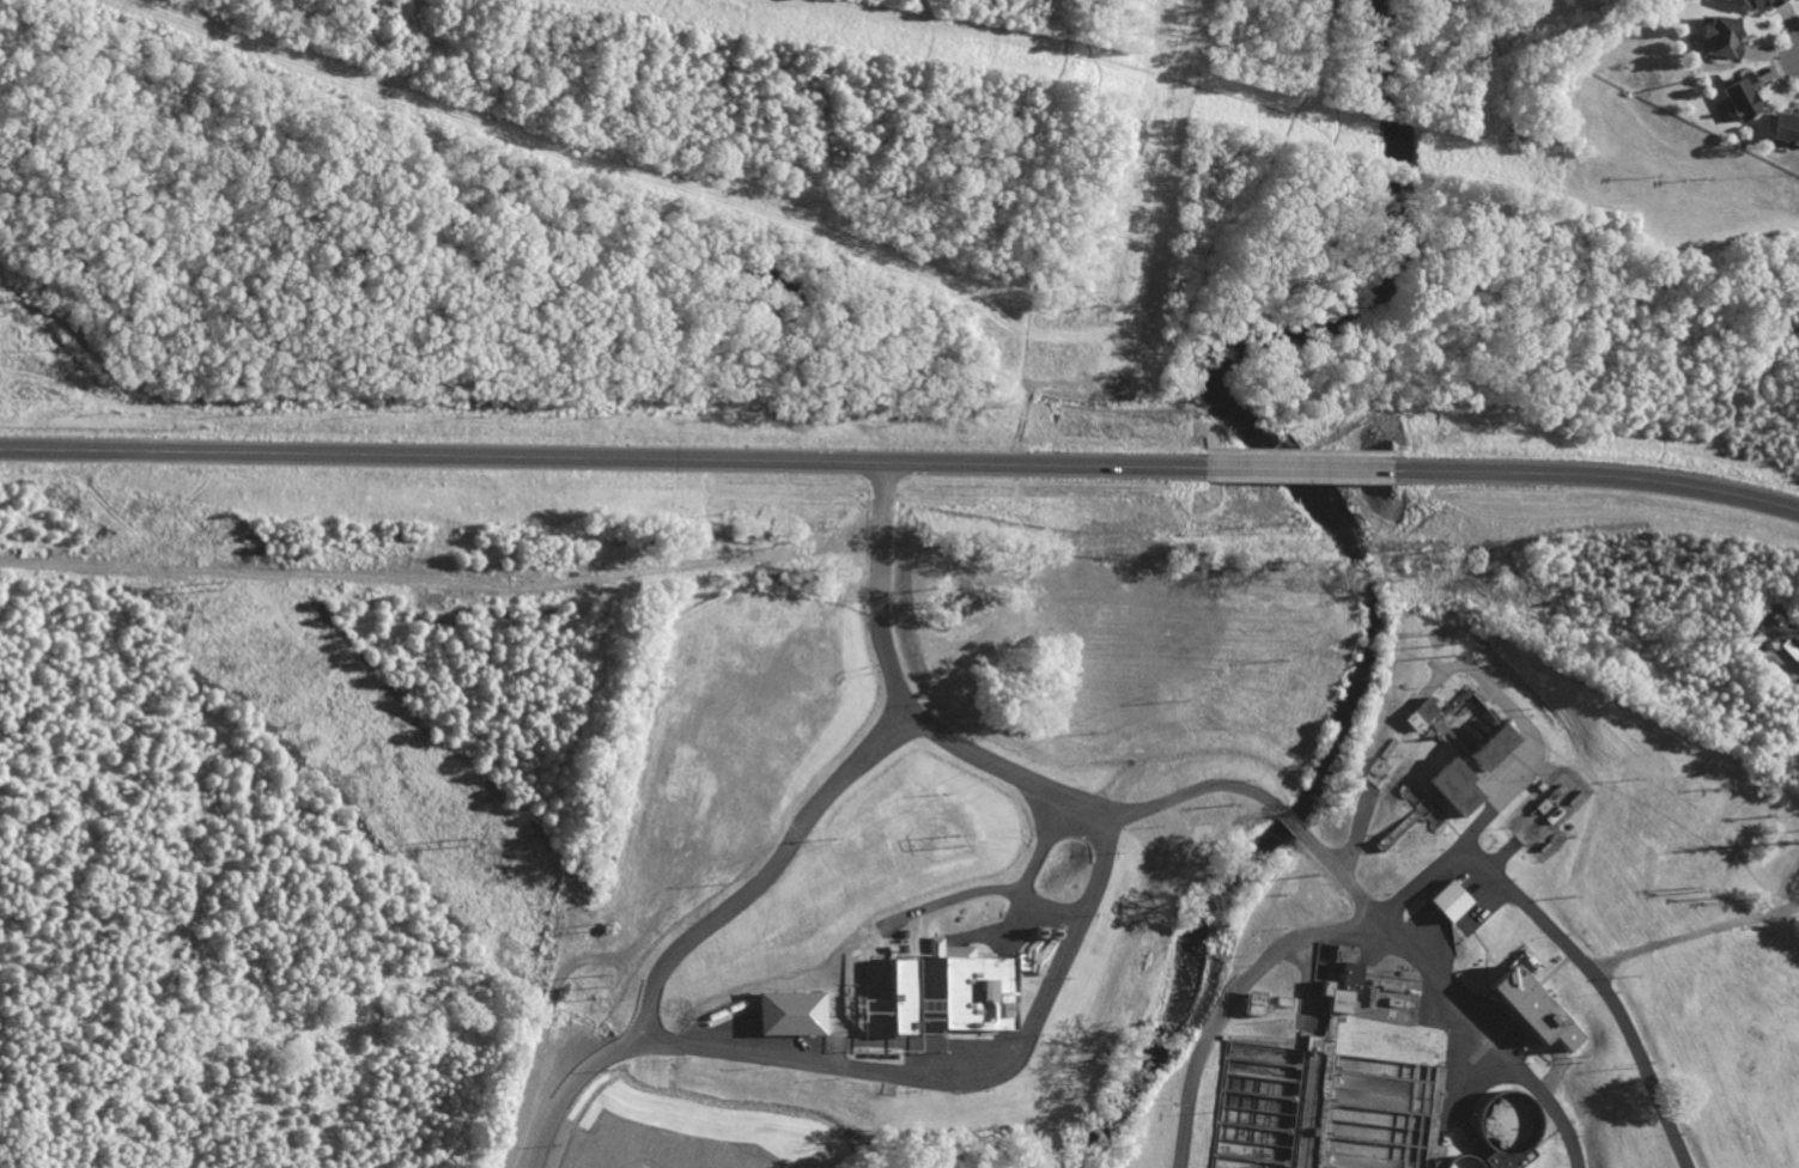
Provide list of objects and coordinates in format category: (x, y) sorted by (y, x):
building: (1761, 4)
road: (341, 14)
road: (928, 14)
road: (998, 20)
building: (1719, 36)
road: (1033, 48)
road: (955, 79)
building: (1742, 96)
road: (1092, 112)
road: (905, 122)
building: (1786, 128)
road: (744, 130)
road: (29, 146)
road: (190, 157)
road: (790, 163)
road: (547, 188)
park: (681, 208)
road: (777, 217)
road: (1033, 227)
road: (1214, 238)
road: (650, 285)
road: (397, 324)
road: (1026, 358)
road: (1021, 418)
road: (1299, 450)
road: (1009, 455)
road: (601, 458)
road: (1299, 467)
road: (1597, 473)
road: (880, 523)
road: (443, 582)
power tower: (215, 590)
power tower: (1455, 645)
building: (1421, 714)
road: (1531, 743)
building: (1491, 747)
building: (1374, 771)
building: (1453, 786)
road: (1192, 789)
road: (1291, 823)
wastewater plant: (1198, 840)
power tower: (961, 842)
power tower: (1785, 845)
power tower: (464, 851)
road: (1026, 872)
road: (767, 875)
road: (1336, 875)
power substation: (1794, 892)
building: (1448, 900)
road: (1449, 979)
power tower: (603, 983)
building: (1342, 987)
building: (973, 988)
road: (1234, 994)
building: (904, 996)
building: (1257, 1004)
road: (1613, 1006)
building: (1534, 1008)
building: (791, 1012)
road: (1026, 1033)
building: (1508, 1158)

